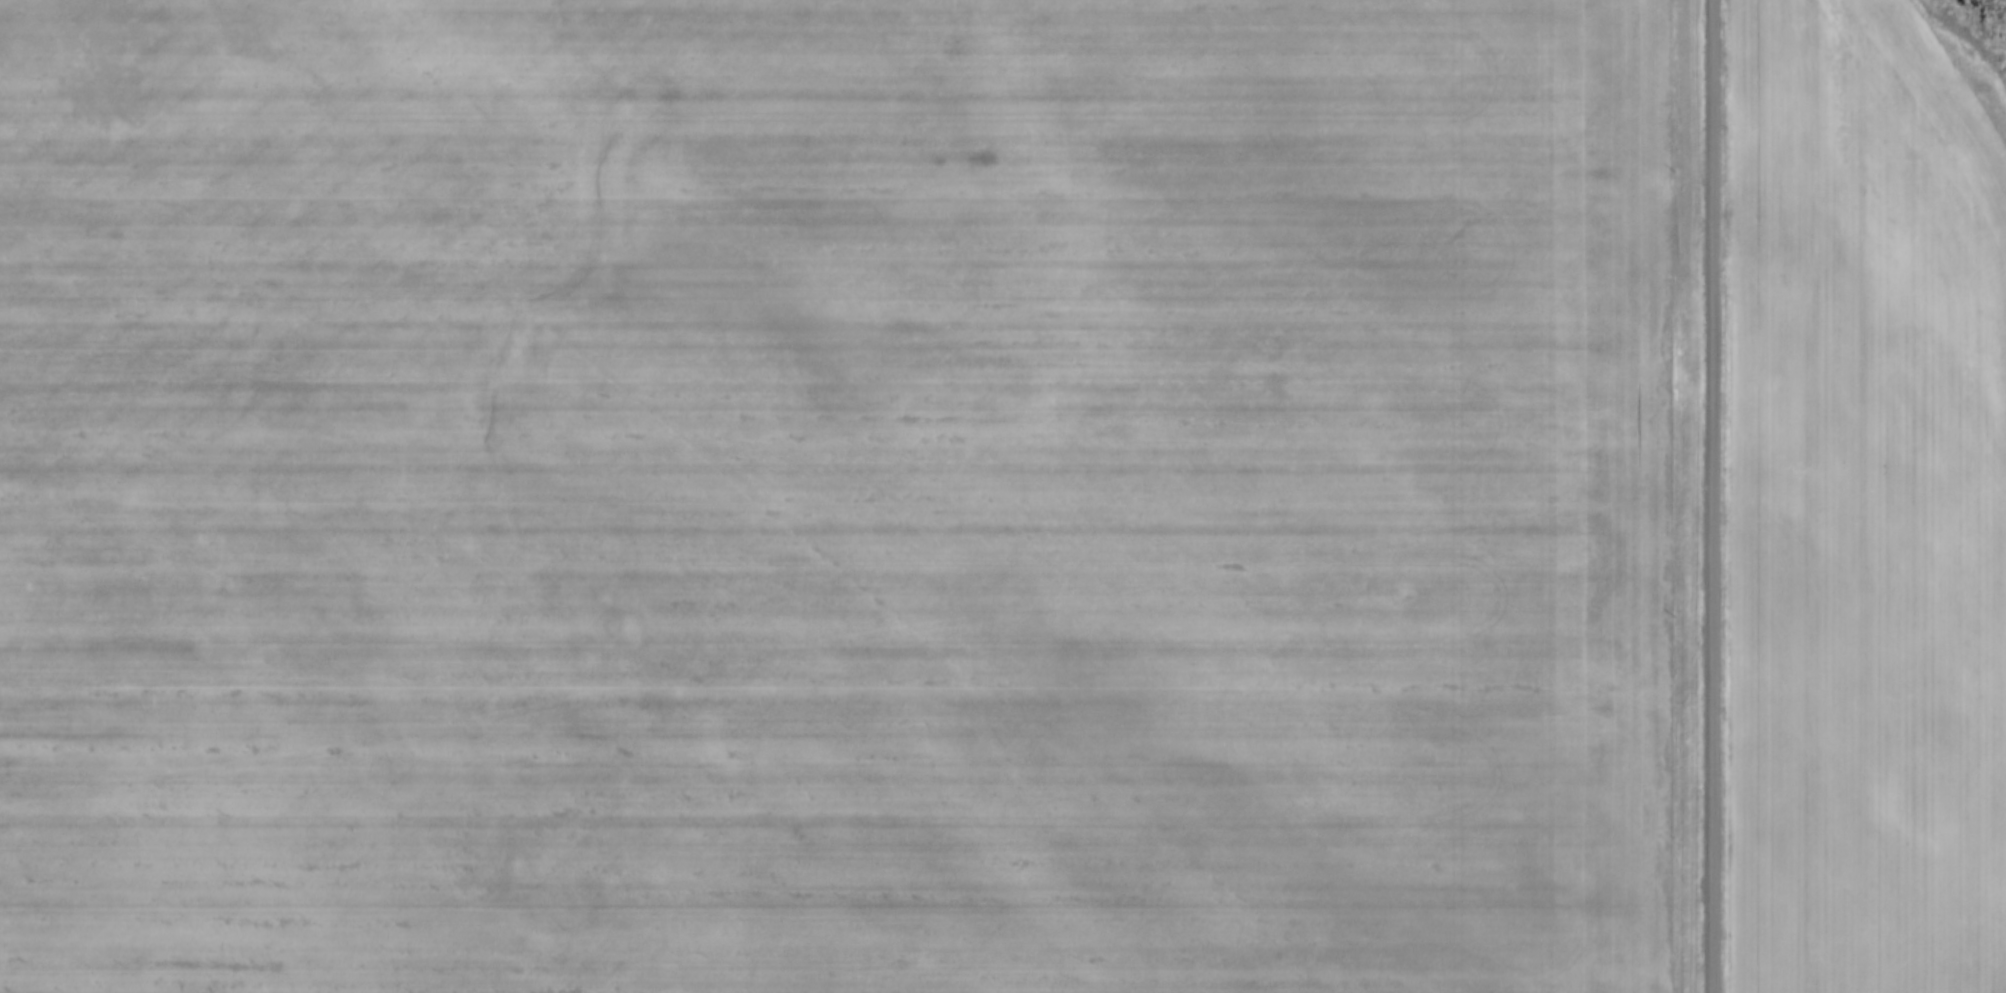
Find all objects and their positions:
road: (1714, 496)

